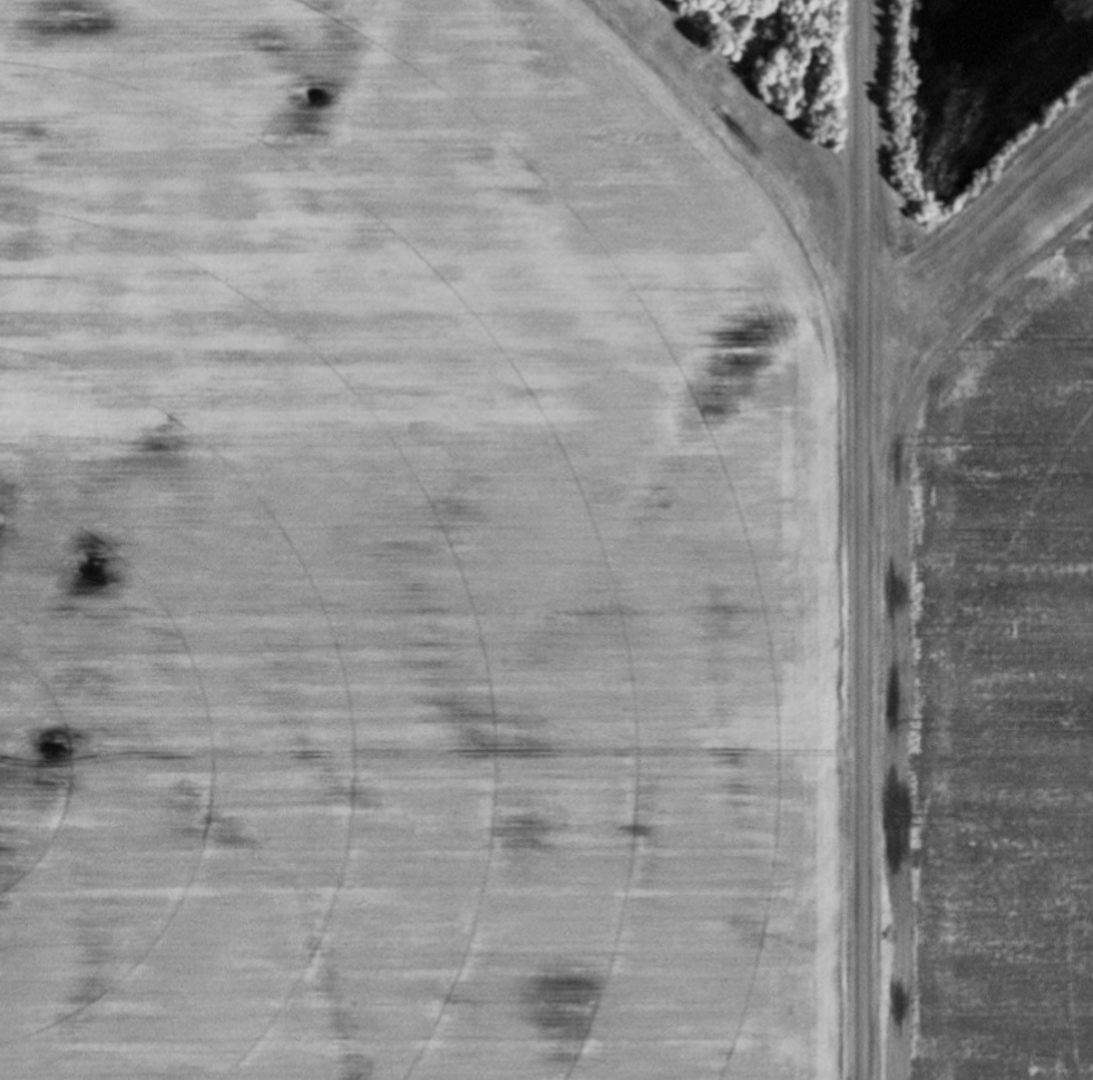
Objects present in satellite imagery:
crop: (992, 538)
road: (863, 539)
crop: (412, 546)

